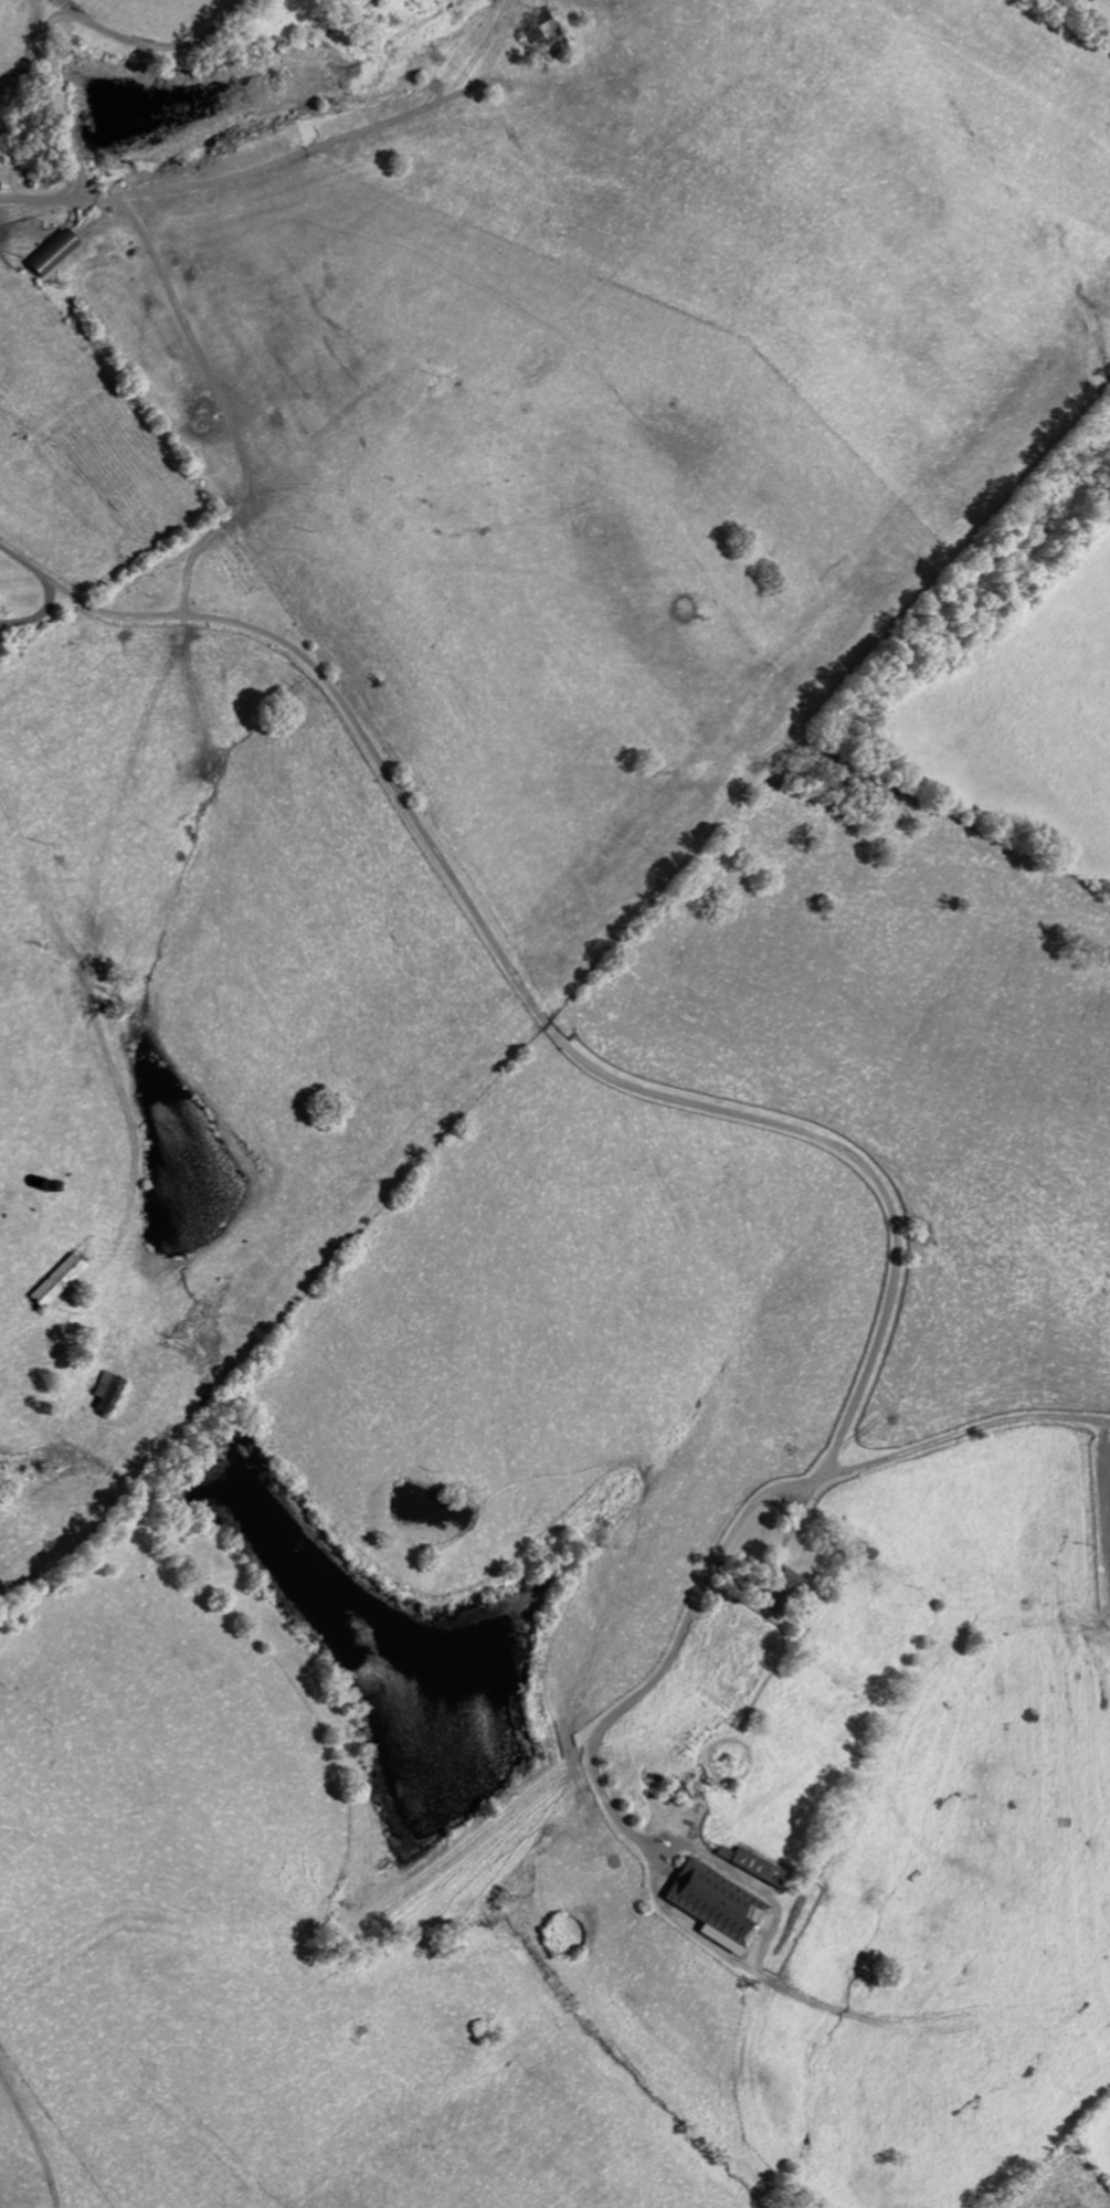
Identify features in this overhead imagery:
road: (60, 15)
road: (288, 157)
road: (47, 592)
road: (749, 1118)
building: (57, 1281)
building: (106, 1392)
building: (782, 1591)
building: (752, 1864)
building: (717, 1905)

